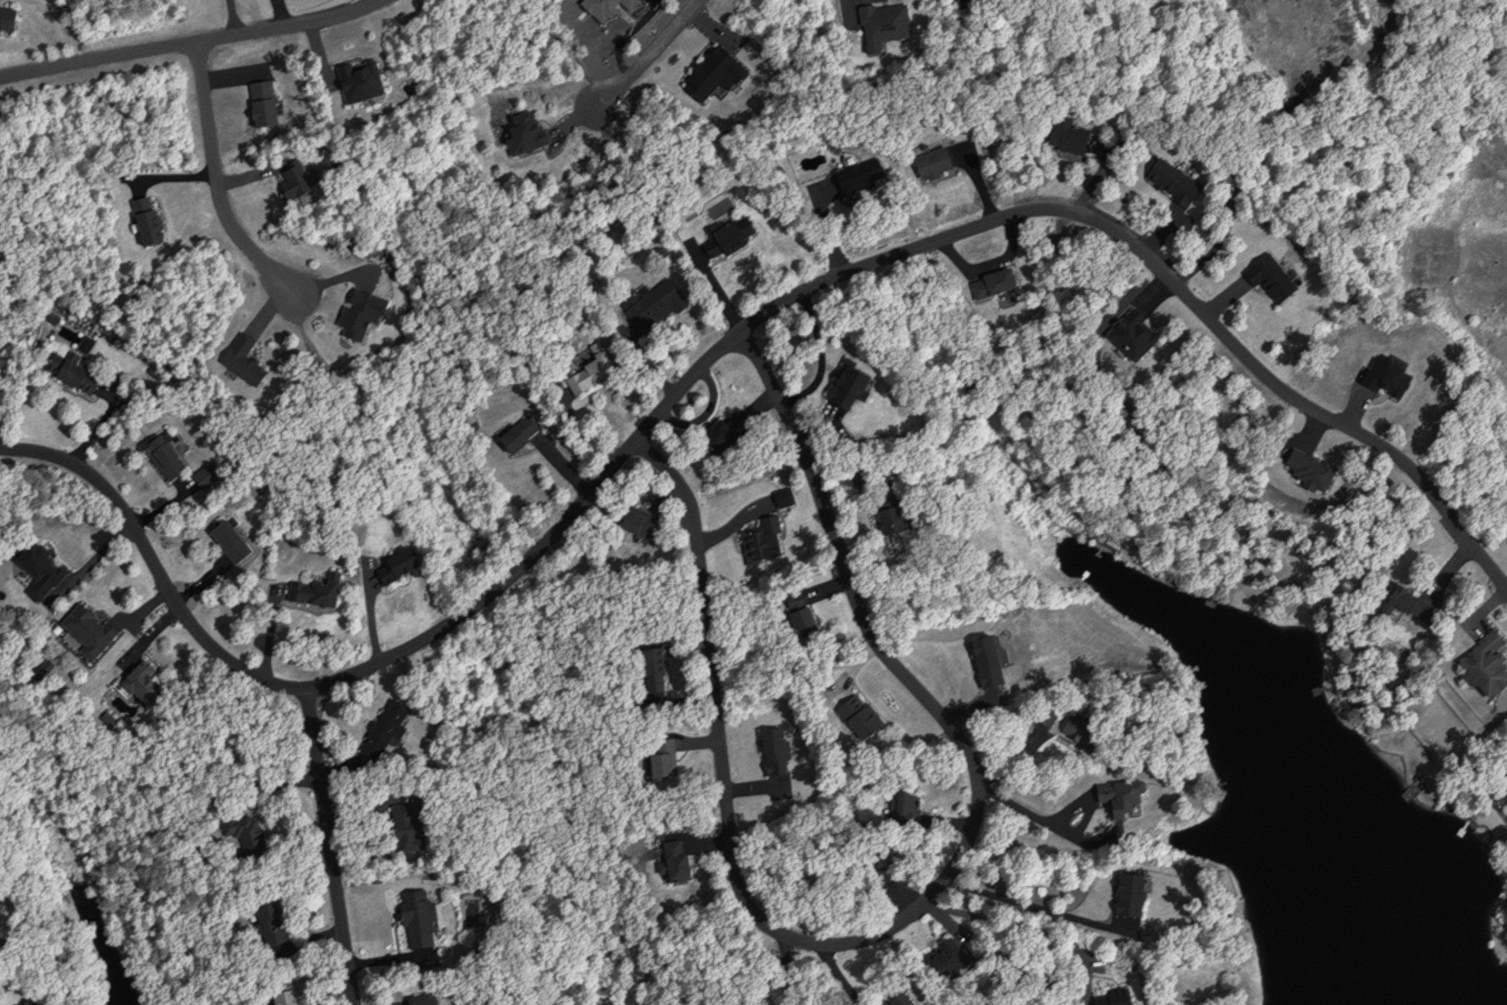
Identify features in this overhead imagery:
building: (6, 18)
building: (880, 33)
road: (191, 40)
road: (650, 55)
building: (356, 82)
building: (1060, 138)
building: (520, 142)
building: (925, 164)
building: (293, 177)
road: (214, 181)
building: (1166, 181)
building: (855, 182)
building: (824, 202)
building: (722, 244)
building: (988, 281)
building: (355, 314)
building: (647, 316)
building: (1131, 330)
road: (722, 342)
building: (237, 364)
building: (581, 369)
building: (72, 374)
building: (840, 396)
building: (516, 433)
building: (161, 461)
building: (1298, 465)
building: (884, 513)
building: (221, 539)
building: (757, 541)
building: (392, 564)
building: (307, 589)
building: (1400, 602)
building: (794, 624)
building: (1479, 663)
building: (1055, 718)
building: (859, 723)
building: (768, 748)
building: (1118, 797)
building: (895, 808)
road: (330, 844)
building: (1123, 894)
road: (912, 914)
building: (934, 955)
building: (1104, 998)

